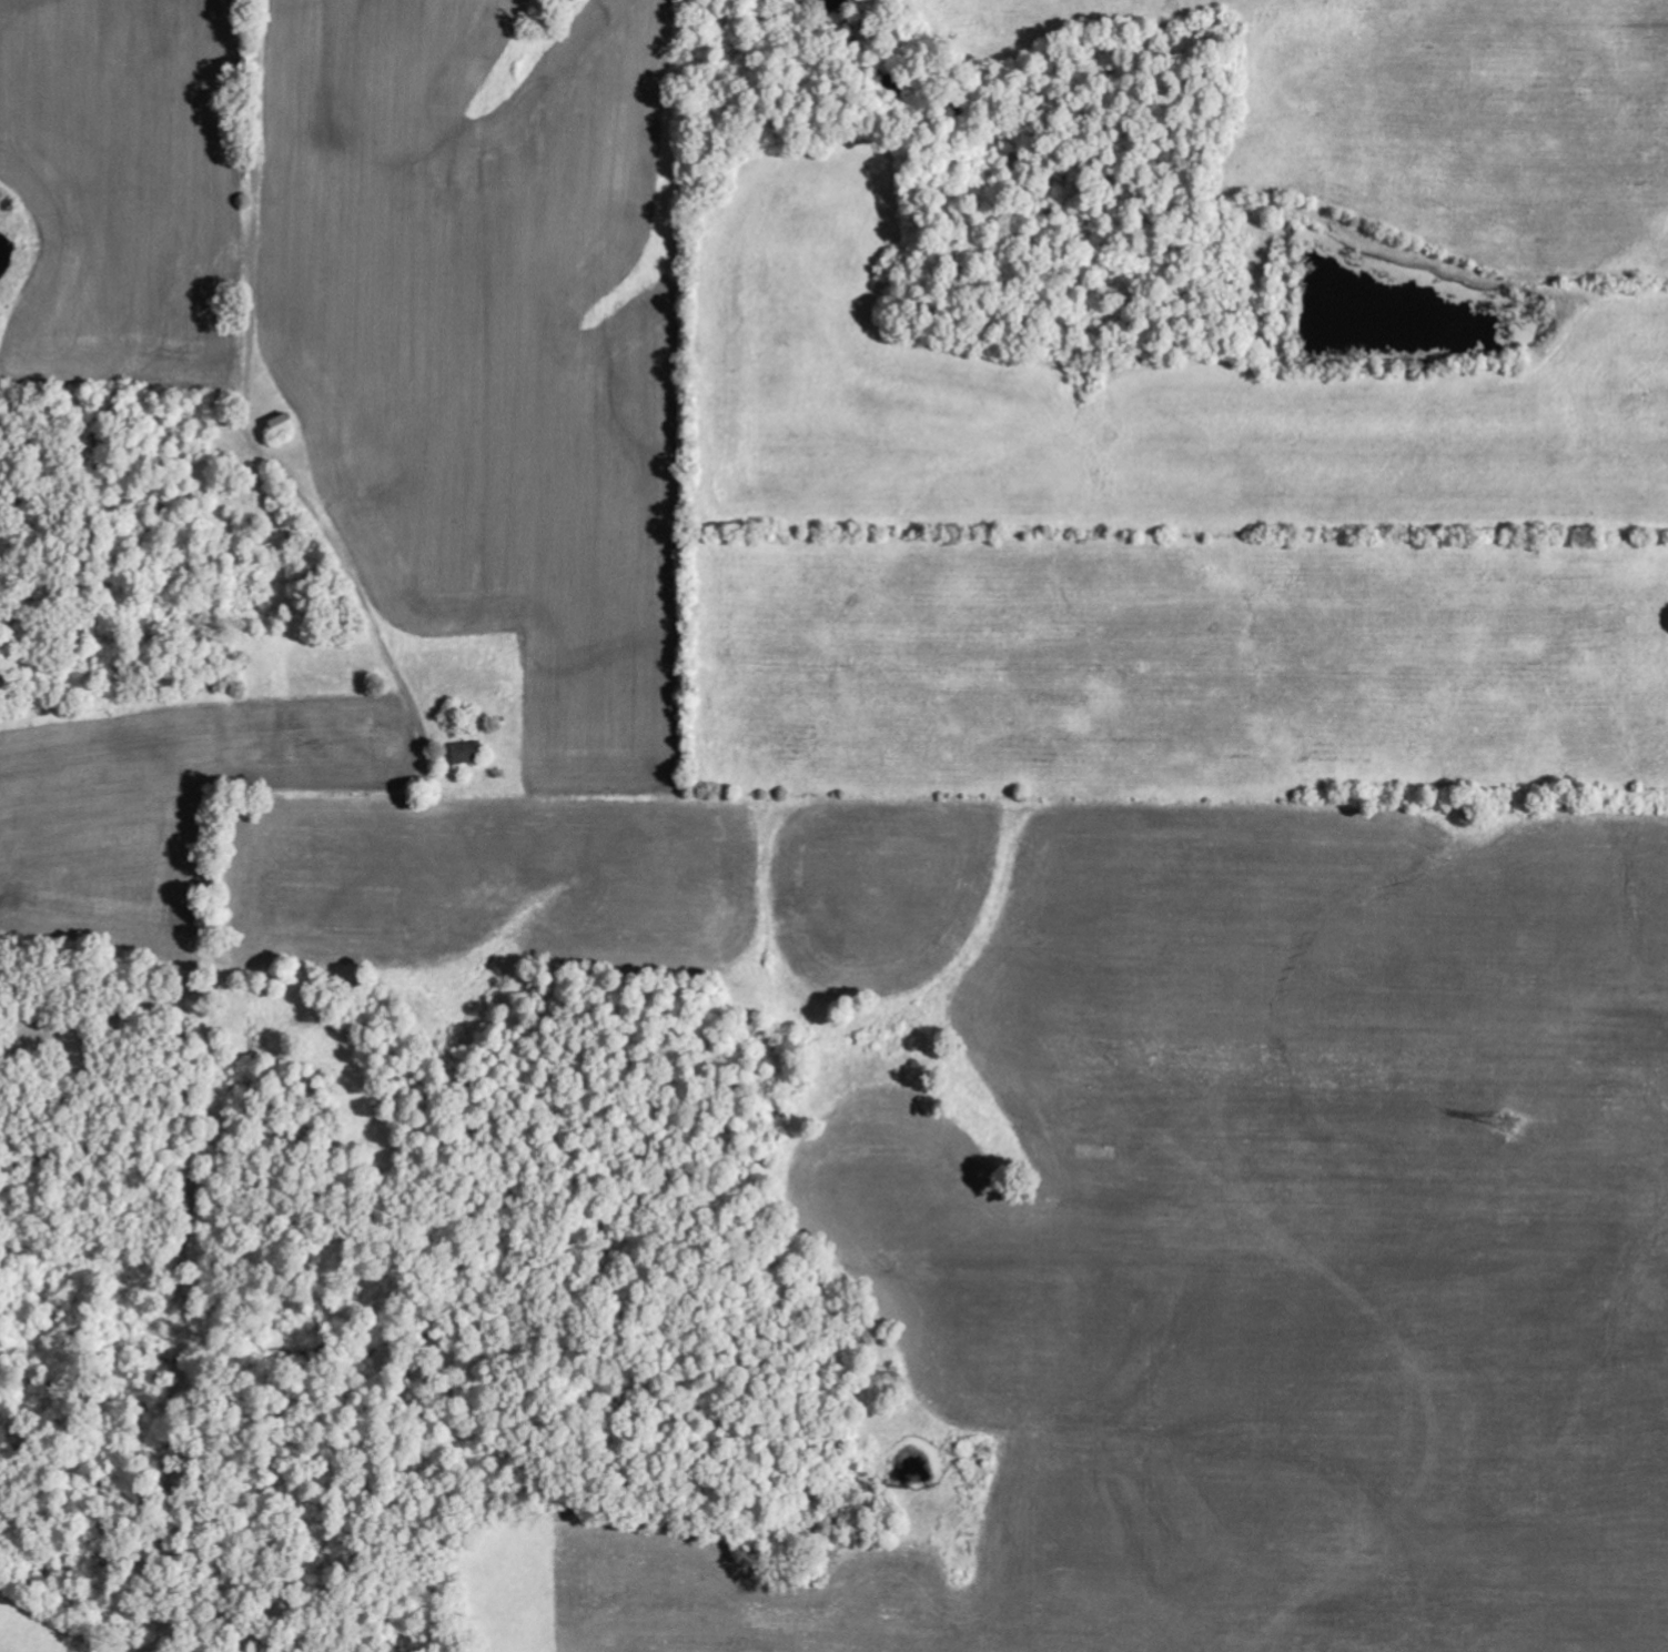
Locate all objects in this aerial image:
road: (225, 409)
building: (282, 423)
building: (466, 752)
power tower: (1513, 1127)

